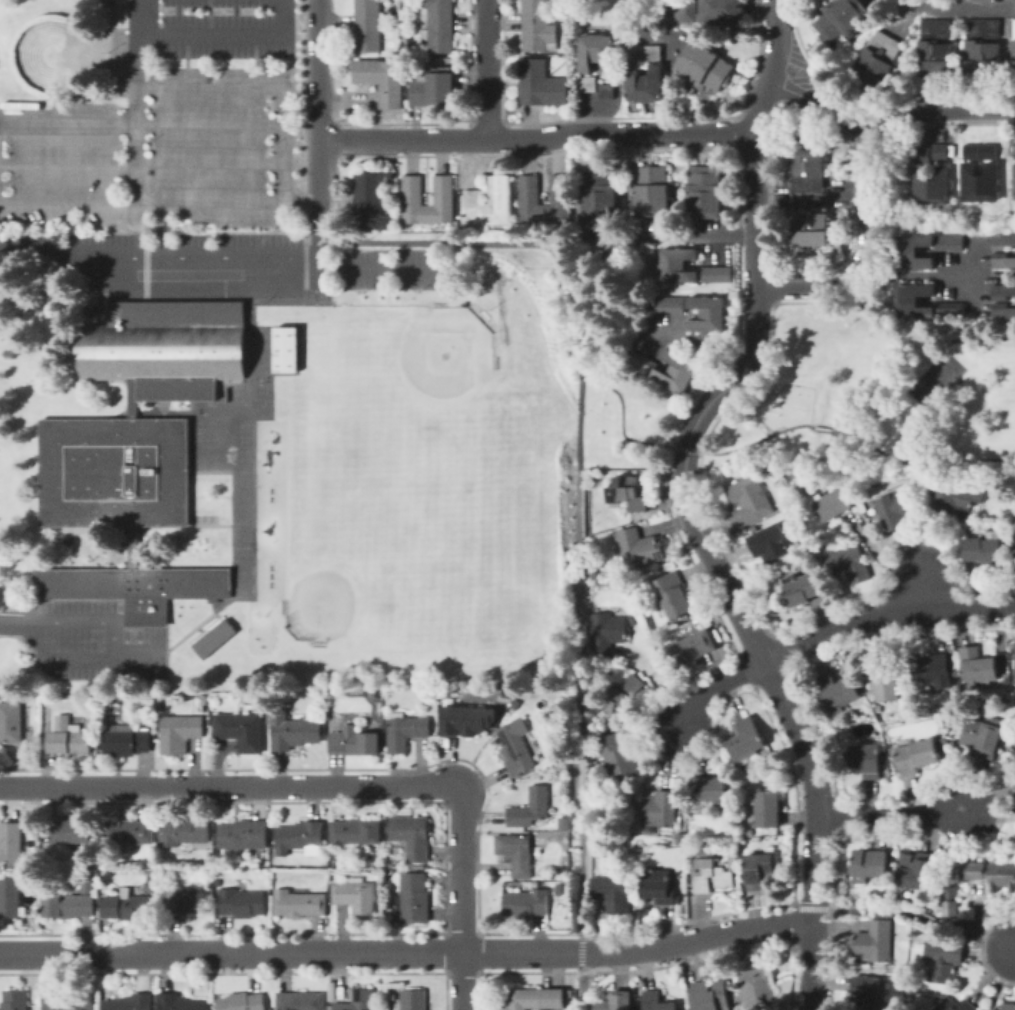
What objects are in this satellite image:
road: (961, 9)
building: (535, 10)
building: (437, 11)
building: (367, 12)
park: (617, 12)
building: (722, 13)
building: (842, 20)
building: (935, 29)
building: (983, 29)
building: (1014, 29)
road: (667, 34)
road: (223, 35)
building: (538, 35)
building: (367, 37)
building: (439, 38)
park: (53, 50)
building: (1014, 52)
building: (597, 53)
building: (653, 53)
building: (636, 54)
building: (982, 60)
building: (876, 61)
building: (935, 61)
building: (705, 66)
road: (490, 70)
building: (365, 72)
building: (390, 84)
building: (644, 84)
building: (541, 85)
building: (589, 85)
road: (267, 88)
building: (433, 89)
building: (606, 91)
road: (819, 103)
road: (938, 111)
road: (142, 124)
road: (320, 126)
road: (538, 139)
building: (1013, 150)
building: (940, 152)
building: (971, 152)
building: (989, 152)
building: (922, 156)
road: (142, 164)
building: (1014, 181)
building: (980, 184)
building: (932, 186)
road: (137, 191)
building: (653, 192)
building: (705, 192)
building: (809, 192)
building: (600, 193)
building: (371, 200)
building: (530, 200)
building: (559, 200)
building: (413, 201)
building: (442, 201)
building: (493, 201)
road: (72, 204)
road: (705, 237)
building: (1003, 241)
road: (160, 253)
road: (863, 254)
building: (909, 254)
building: (1003, 260)
road: (559, 264)
road: (322, 266)
building: (678, 266)
road: (379, 267)
building: (717, 275)
road: (915, 276)
road: (187, 280)
building: (1003, 291)
road: (753, 298)
building: (910, 299)
building: (669, 305)
building: (1003, 311)
building: (89, 312)
building: (707, 315)
park: (260, 335)
road: (913, 338)
road: (704, 340)
building: (165, 346)
building: (285, 349)
park: (613, 351)
building: (683, 370)
park: (261, 372)
park: (261, 390)
park: (352, 390)
park: (220, 393)
park: (232, 393)
park: (416, 394)
park: (872, 396)
building: (130, 398)
park: (265, 404)
road: (183, 413)
park: (445, 426)
road: (821, 428)
park: (244, 429)
road: (758, 439)
park: (245, 445)
road: (686, 447)
road: (919, 461)
park: (245, 463)
building: (112, 471)
road: (210, 471)
road: (233, 474)
park: (245, 477)
building: (916, 487)
park: (446, 491)
building: (627, 493)
building: (956, 498)
building: (751, 500)
park: (317, 501)
park: (375, 501)
building: (833, 504)
building: (896, 510)
road: (160, 524)
park: (235, 532)
building: (1013, 540)
building: (773, 543)
building: (1014, 546)
building: (131, 547)
building: (638, 548)
building: (984, 550)
park: (239, 553)
building: (849, 564)
park: (333, 582)
park: (385, 585)
park: (443, 585)
building: (134, 587)
building: (804, 589)
road: (924, 592)
building: (674, 595)
road: (886, 616)
road: (209, 620)
road: (85, 621)
road: (13, 625)
building: (605, 632)
building: (212, 637)
building: (695, 647)
road: (138, 651)
road: (579, 651)
road: (62, 658)
building: (978, 665)
building: (933, 667)
building: (956, 673)
building: (886, 680)
building: (1014, 680)
building: (633, 684)
road: (657, 684)
road: (715, 686)
building: (838, 692)
building: (620, 702)
building: (946, 714)
building: (463, 719)
building: (15, 723)
building: (241, 730)
building: (293, 731)
building: (405, 731)
building: (179, 732)
building: (983, 735)
building: (68, 737)
building: (745, 738)
road: (800, 738)
building: (945, 739)
building: (126, 741)
building: (353, 742)
building: (946, 746)
building: (516, 747)
building: (1014, 751)
building: (617, 756)
building: (917, 756)
building: (868, 760)
road: (233, 786)
building: (709, 789)
building: (735, 792)
building: (530, 808)
building: (768, 809)
building: (661, 810)
road: (893, 812)
building: (564, 824)
building: (72, 831)
building: (183, 832)
building: (128, 833)
building: (355, 833)
building: (243, 835)
building: (411, 836)
building: (301, 837)
building: (11, 841)
building: (690, 852)
building: (516, 853)
building: (870, 863)
building: (209, 865)
building: (757, 870)
building: (918, 870)
building: (713, 873)
building: (991, 874)
building: (217, 883)
building: (565, 884)
building: (659, 887)
building: (88, 888)
building: (102, 889)
building: (614, 893)
building: (356, 896)
building: (413, 898)
road: (463, 898)
building: (11, 899)
building: (186, 902)
building: (241, 903)
building: (526, 903)
building: (299, 904)
building: (68, 905)
building: (126, 906)
road: (820, 907)
building: (953, 908)
building: (926, 909)
road: (923, 916)
building: (876, 942)
road: (408, 952)
road: (580, 952)
building: (945, 959)
road: (813, 967)
road: (1000, 979)
building: (757, 988)
road: (580, 990)
building: (867, 992)
building: (391, 993)
building: (712, 995)
building: (534, 999)
building: (15, 1000)
building: (412, 1000)
building: (68, 1001)
building: (301, 1001)
building: (357, 1001)
building: (657, 1001)
building: (130, 1002)
building: (180, 1002)
building: (242, 1002)
building: (614, 1002)
building: (957, 1005)
building: (1009, 1006)

